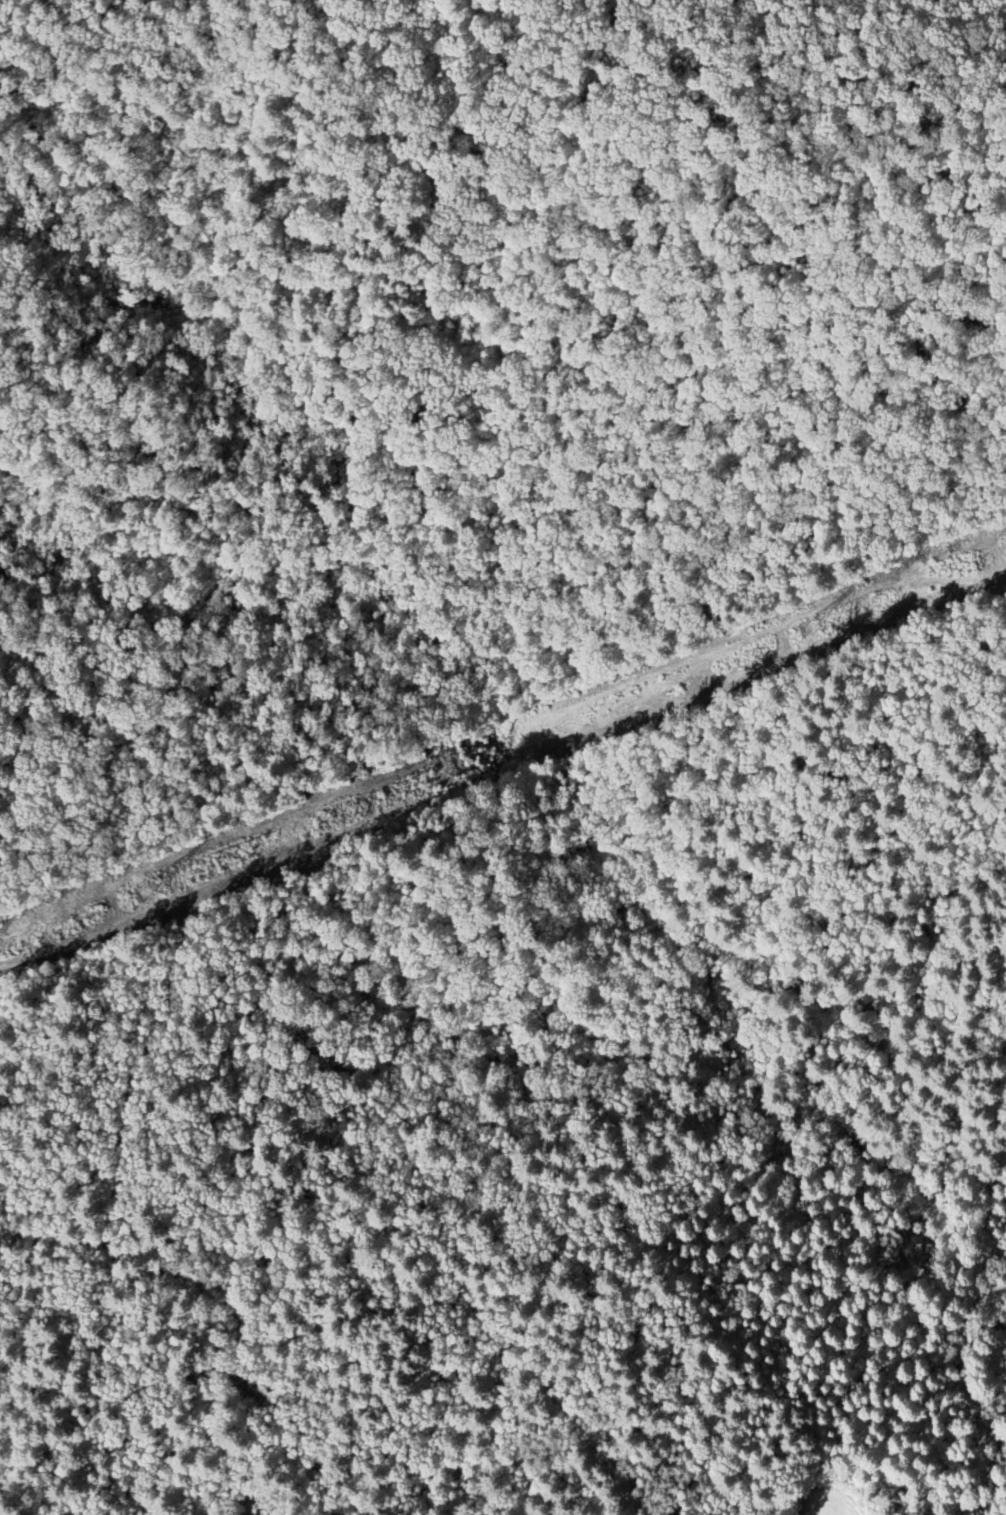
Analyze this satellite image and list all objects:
power tower: (807, 631)
power tower: (141, 895)

